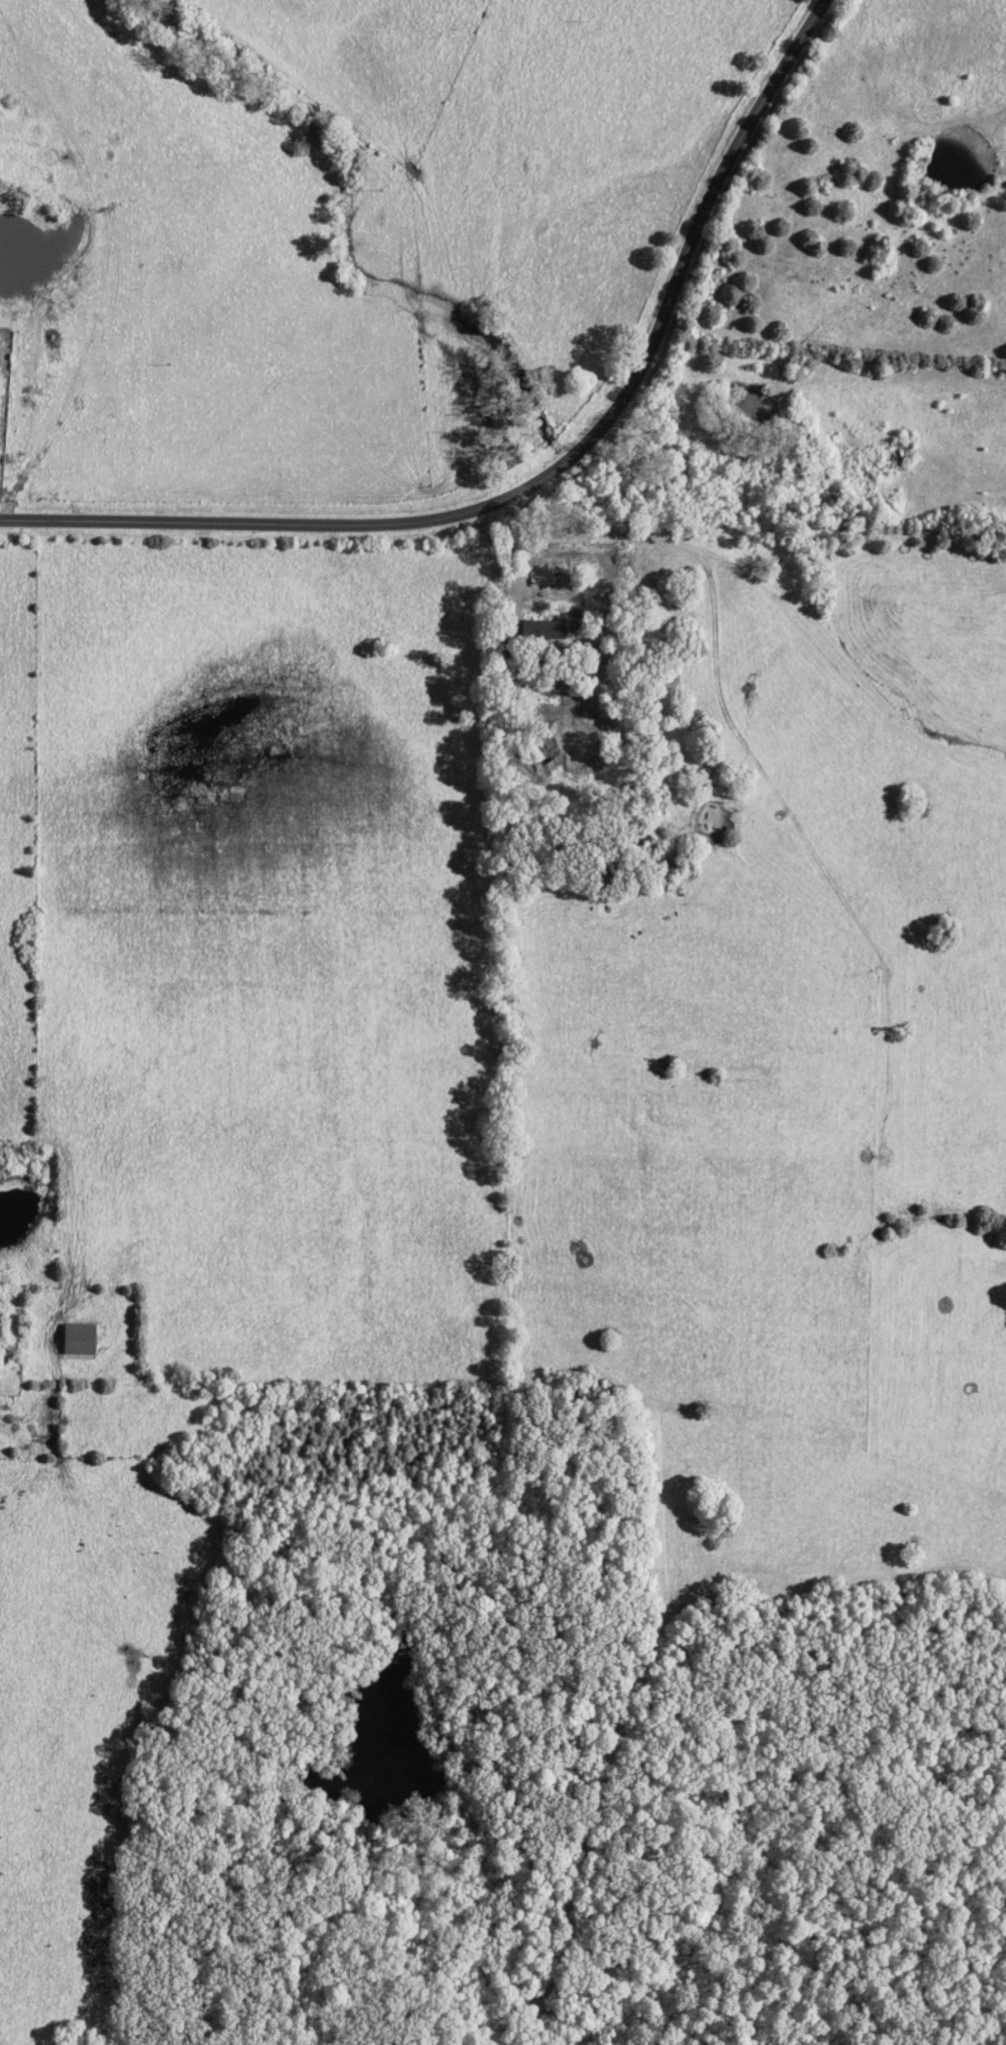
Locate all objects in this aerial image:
road: (549, 476)
road: (508, 549)
road: (353, 607)
building: (543, 630)
building: (78, 1340)
road: (82, 1871)

